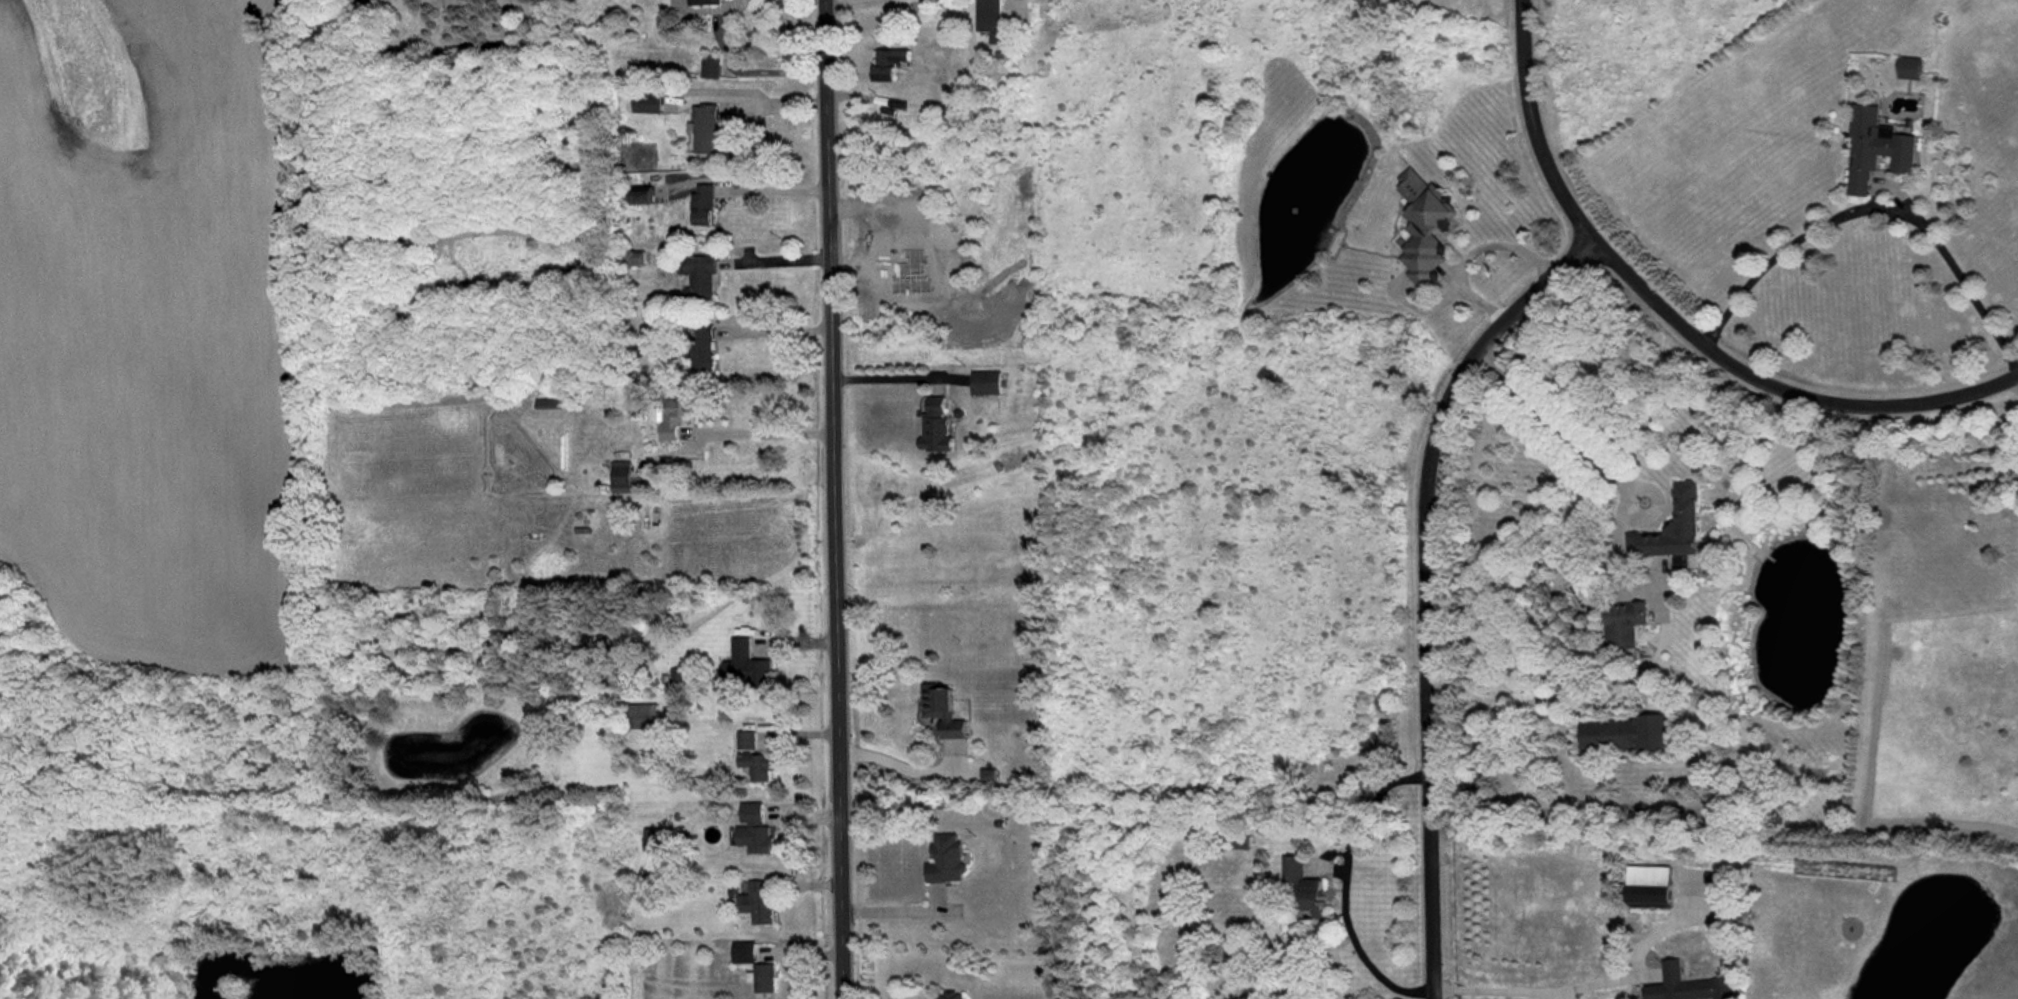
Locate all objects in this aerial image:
building: (704, 2)
building: (991, 19)
building: (890, 63)
building: (1905, 63)
building: (711, 66)
road: (739, 67)
road: (744, 102)
building: (648, 103)
building: (705, 128)
building: (1868, 150)
road: (763, 190)
building: (642, 197)
building: (703, 205)
road: (1874, 209)
building: (1416, 223)
road: (1470, 253)
building: (635, 257)
road: (775, 261)
building: (699, 276)
road: (1675, 318)
crop: (151, 328)
road: (776, 332)
building: (704, 347)
road: (2016, 376)
road: (885, 379)
building: (986, 382)
building: (548, 403)
building: (672, 417)
road: (1550, 420)
building: (936, 426)
road: (765, 434)
building: (621, 476)
road: (833, 499)
building: (1664, 530)
road: (1423, 589)
building: (1617, 621)
building: (744, 664)
building: (942, 710)
building: (644, 716)
building: (1618, 734)
building: (746, 740)
road: (889, 761)
building: (757, 765)
building: (988, 775)
building: (754, 829)
building: (659, 840)
building: (947, 859)
building: (1296, 883)
building: (1650, 886)
building: (758, 903)
road: (900, 912)
building: (744, 952)
building: (763, 978)
building: (1673, 986)
road: (1574, 989)
building: (950, 995)

